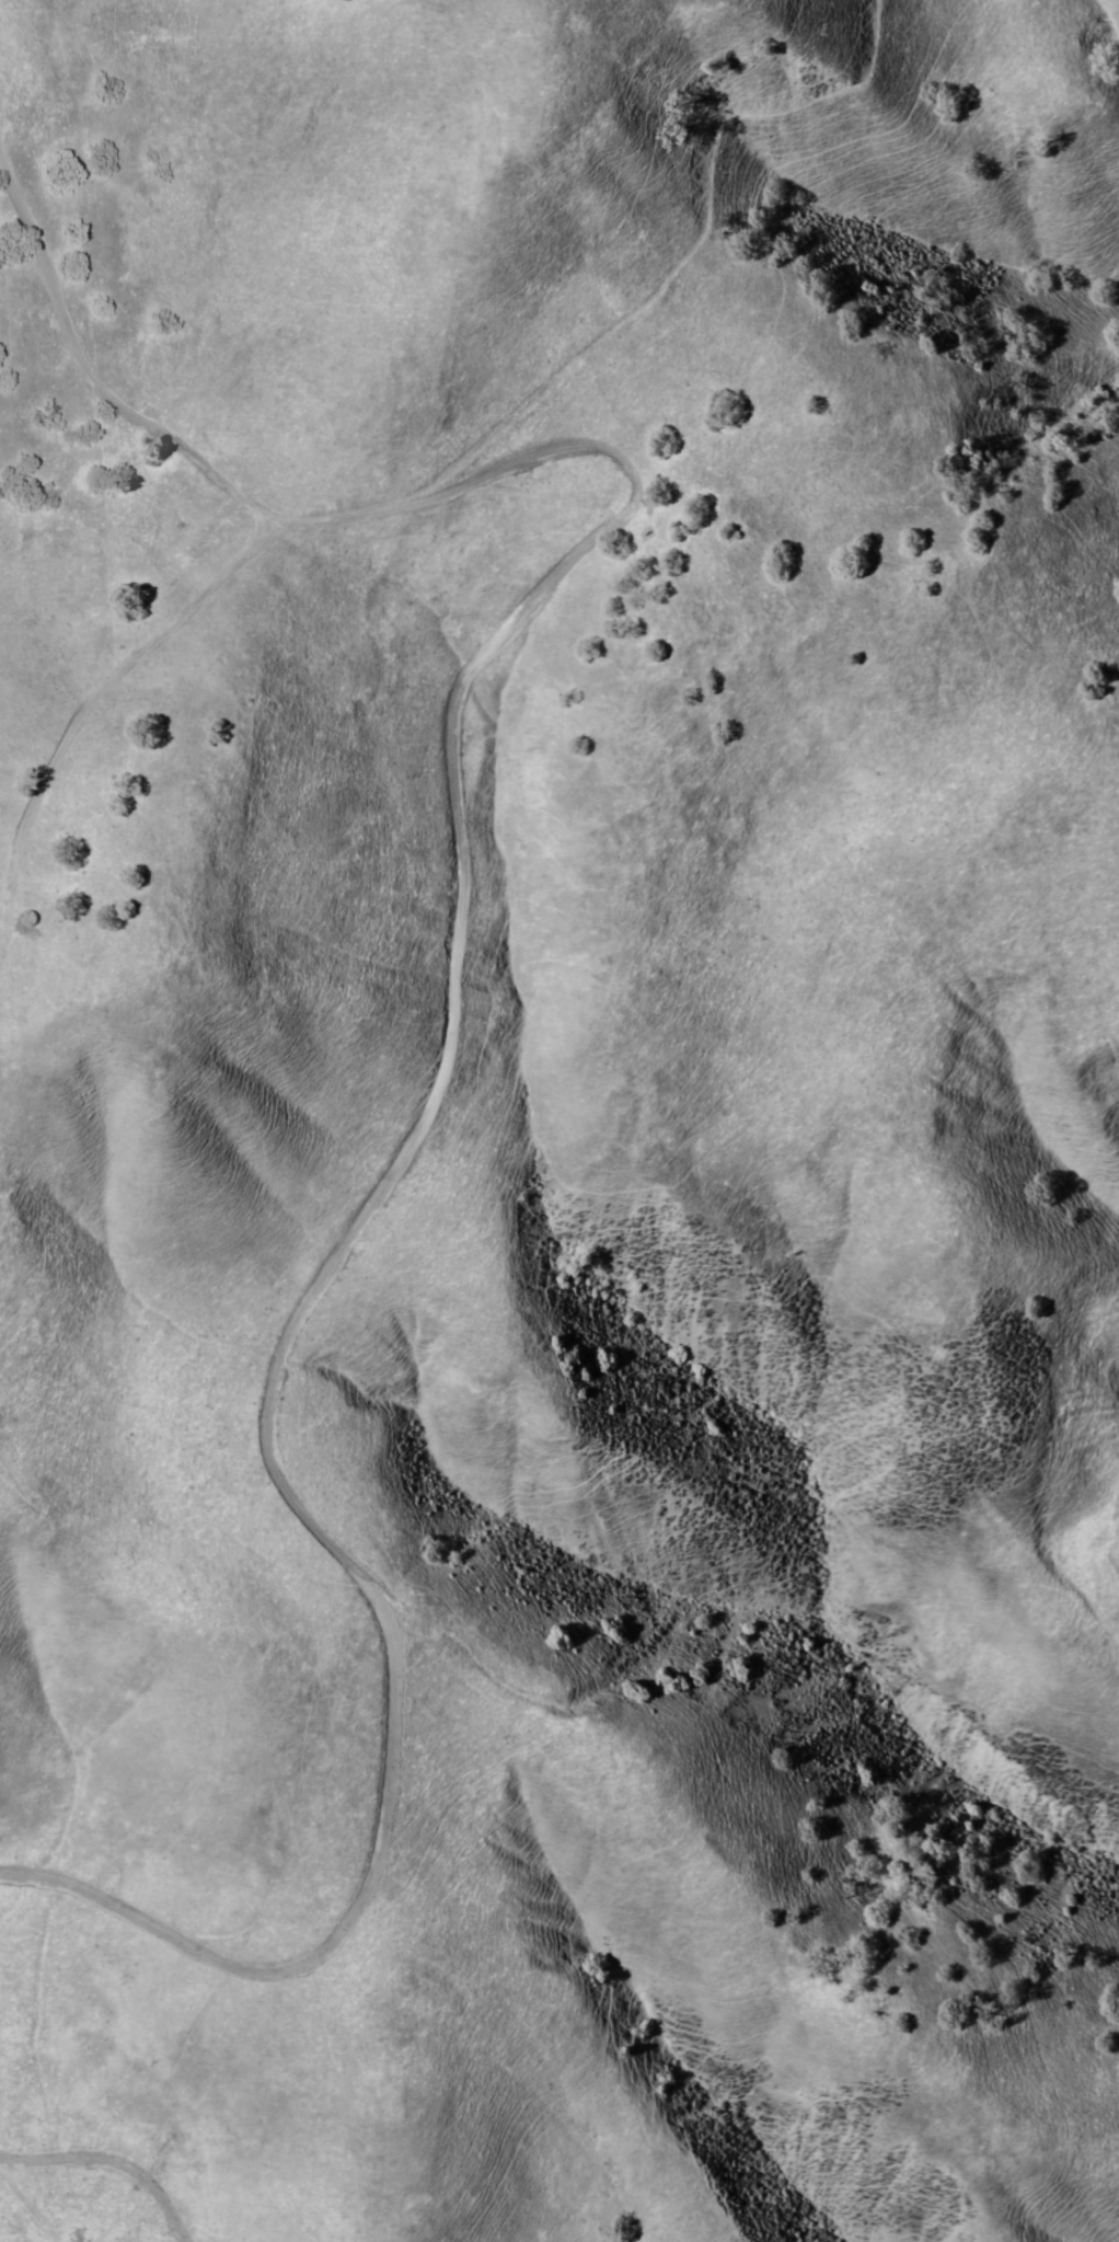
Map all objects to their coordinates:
road: (452, 963)
road: (111, 2162)

